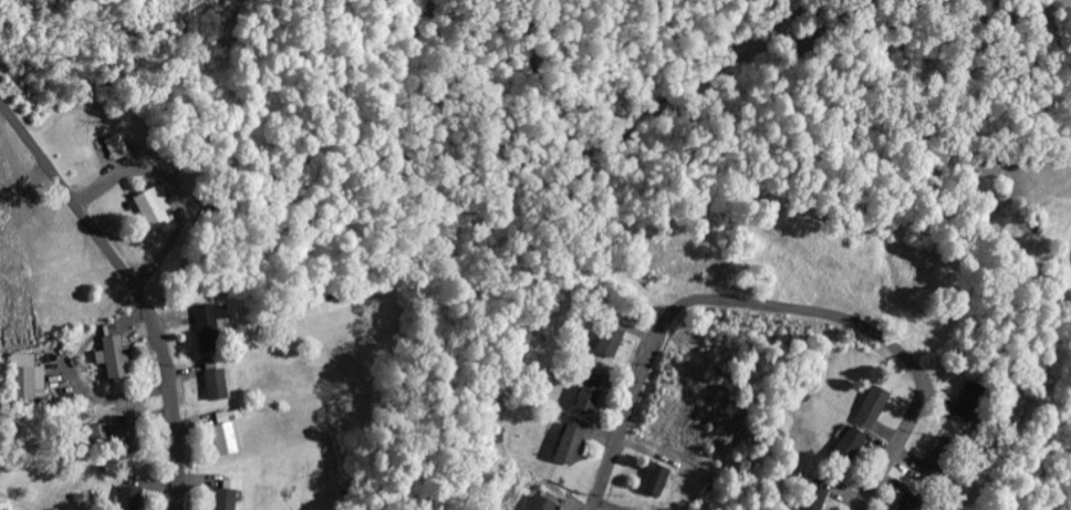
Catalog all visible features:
building: (119, 148)
building: (158, 208)
road: (105, 246)
road: (773, 303)
building: (214, 320)
building: (612, 342)
building: (119, 357)
building: (30, 382)
building: (220, 385)
building: (592, 398)
building: (875, 408)
building: (128, 436)
building: (102, 437)
building: (229, 438)
building: (853, 445)
building: (574, 446)
road: (176, 457)
building: (943, 457)
building: (657, 480)
building: (820, 492)
building: (231, 495)
building: (133, 498)
building: (547, 502)
building: (906, 502)

